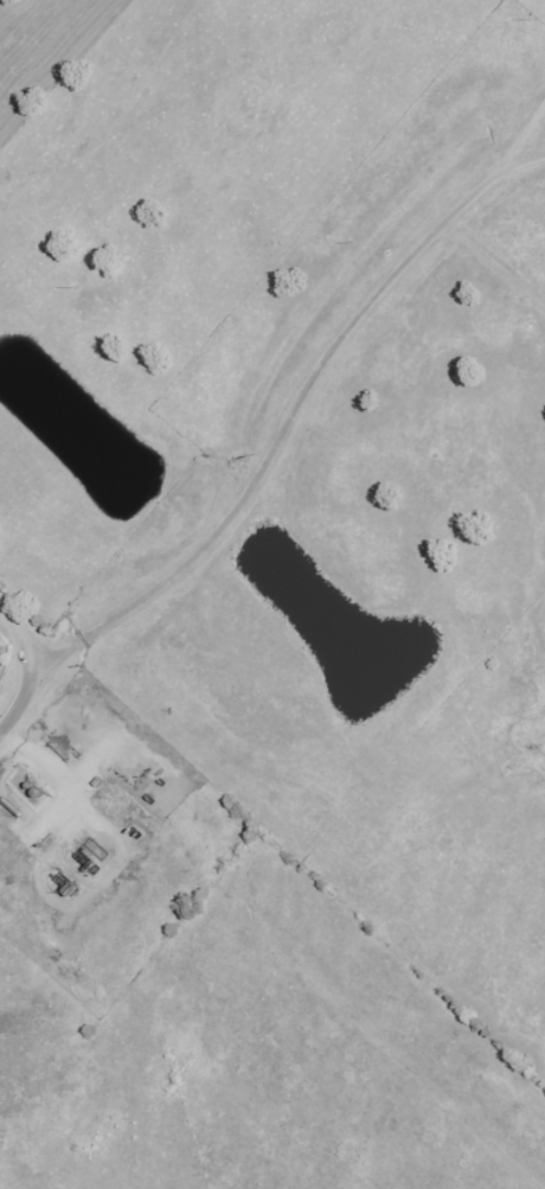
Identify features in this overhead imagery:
road: (517, 135)
road: (493, 256)
road: (288, 410)
road: (25, 669)

